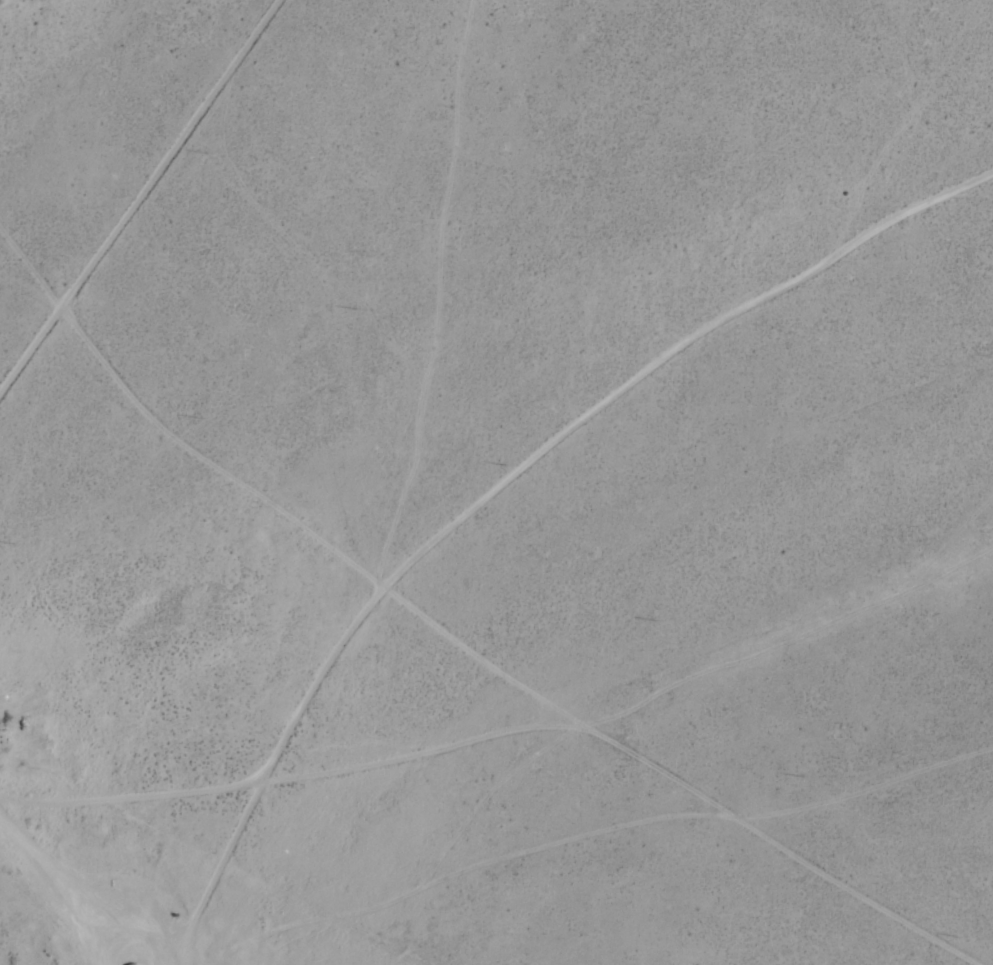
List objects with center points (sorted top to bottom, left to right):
road: (54, 371)
road: (512, 709)
road: (296, 811)

